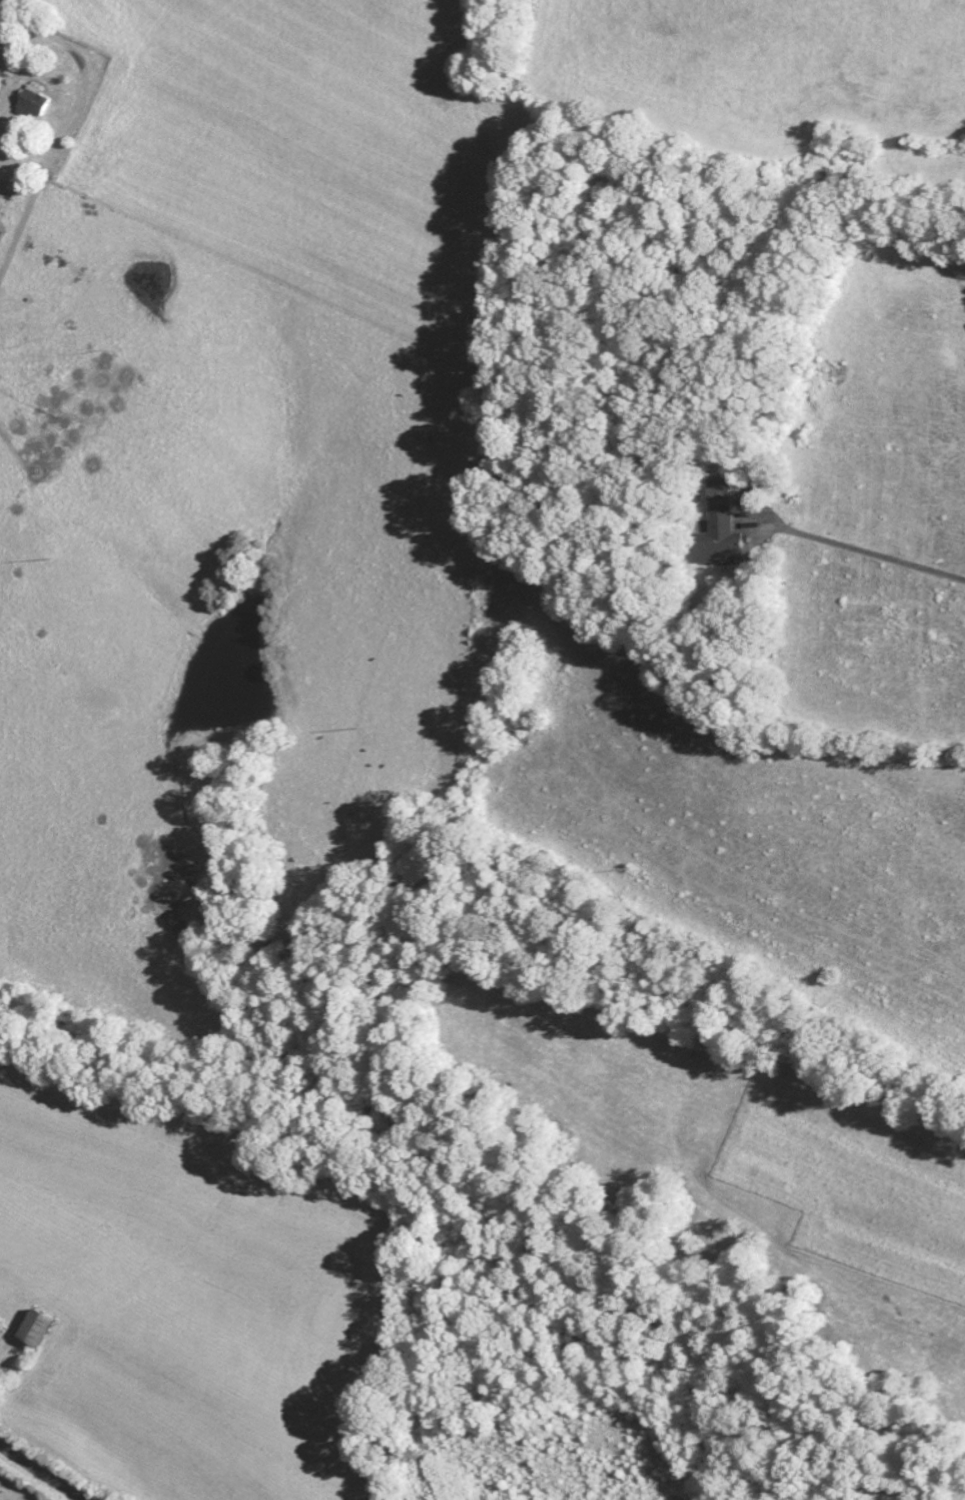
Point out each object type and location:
building: (30, 107)
building: (719, 532)
building: (38, 1331)
road: (40, 1473)

